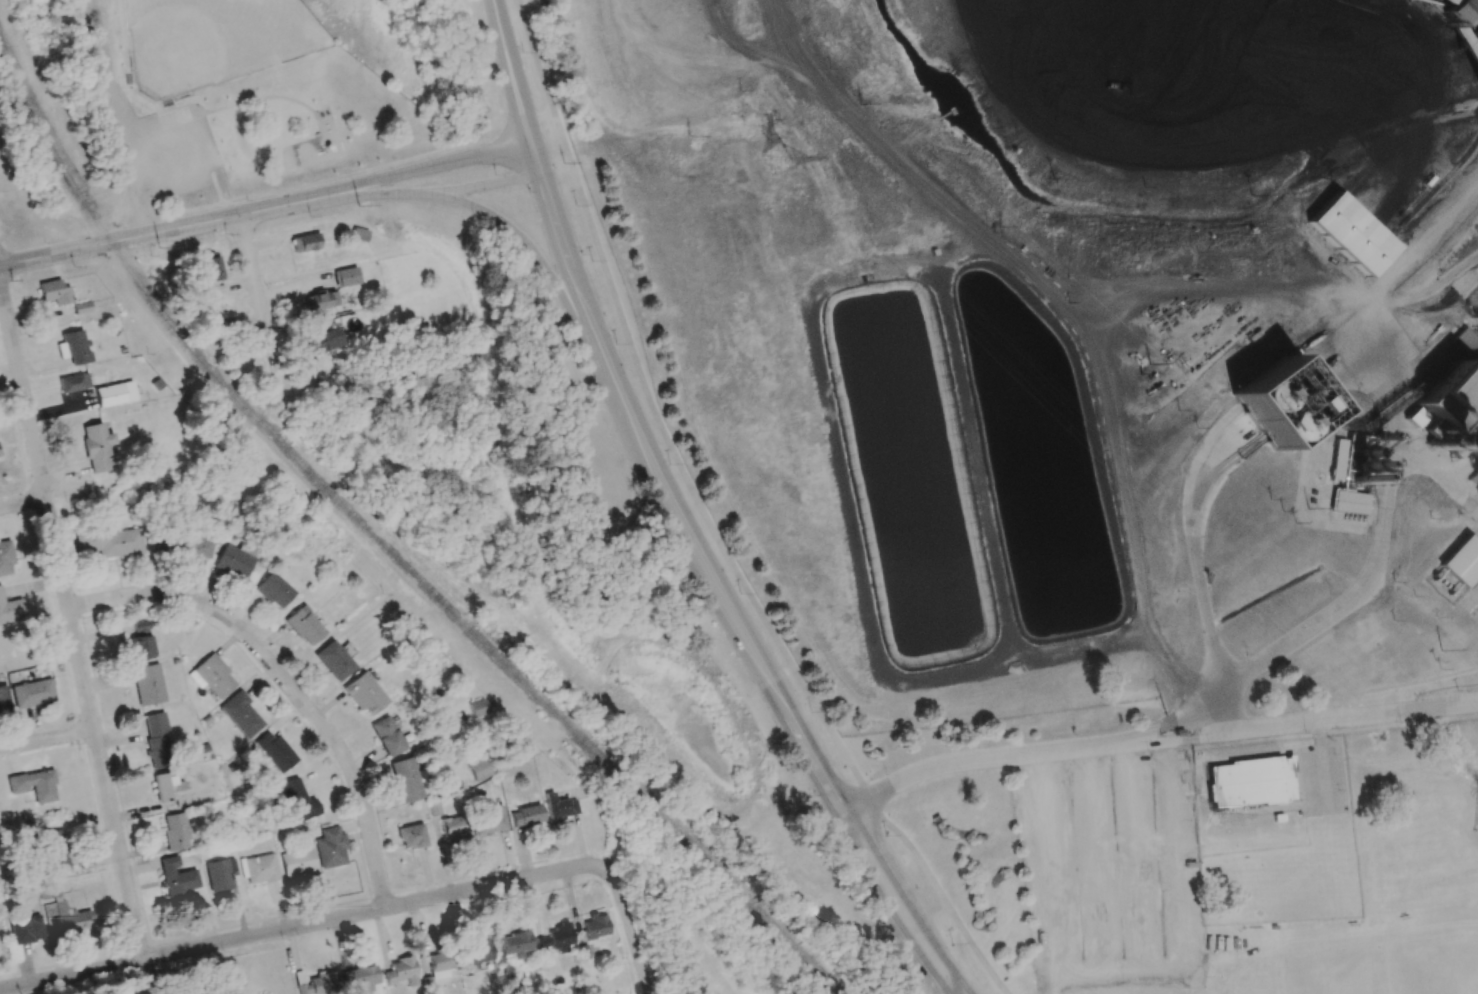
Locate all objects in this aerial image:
building: (1448, 11)
park: (214, 41)
road: (509, 72)
park: (269, 88)
road: (119, 117)
parking lot: (176, 157)
power tower: (779, 159)
road: (439, 165)
road: (348, 176)
road: (444, 190)
railway: (1434, 192)
road: (175, 228)
building: (1350, 234)
building: (305, 242)
road: (537, 261)
building: (211, 266)
building: (346, 276)
building: (54, 292)
building: (319, 300)
road: (258, 302)
building: (82, 307)
building: (1465, 341)
building: (320, 342)
building: (73, 347)
building: (74, 382)
building: (115, 394)
building: (1278, 403)
building: (1449, 429)
power plant: (1449, 429)
chimney: (1437, 441)
building: (97, 448)
road: (22, 501)
building: (1349, 502)
road: (708, 523)
building: (110, 542)
building: (187, 546)
railway: (386, 547)
building: (6, 559)
building: (233, 561)
building: (1462, 562)
road: (714, 583)
building: (273, 591)
building: (11, 610)
road: (1319, 619)
road: (72, 622)
building: (304, 626)
building: (140, 641)
building: (333, 661)
building: (212, 677)
road: (285, 683)
building: (148, 684)
building: (32, 693)
building: (364, 694)
building: (4, 698)
building: (478, 708)
building: (241, 714)
building: (386, 736)
road: (1158, 738)
road: (47, 739)
building: (157, 741)
building: (275, 752)
road: (1321, 760)
building: (480, 769)
building: (405, 779)
building: (1249, 782)
building: (33, 785)
building: (166, 786)
building: (296, 800)
building: (559, 807)
building: (434, 808)
building: (526, 815)
building: (489, 820)
building: (454, 828)
building: (175, 831)
building: (411, 836)
building: (331, 848)
building: (53, 851)
building: (298, 862)
building: (259, 869)
road: (1042, 873)
building: (220, 874)
building: (176, 878)
building: (47, 890)
road: (369, 911)
building: (68, 919)
building: (595, 926)
building: (26, 930)
building: (556, 938)
building: (516, 943)
building: (477, 952)
building: (440, 964)
park: (1440, 967)
building: (401, 972)
park: (1323, 974)
road: (149, 977)
building: (317, 983)
building: (517, 990)

